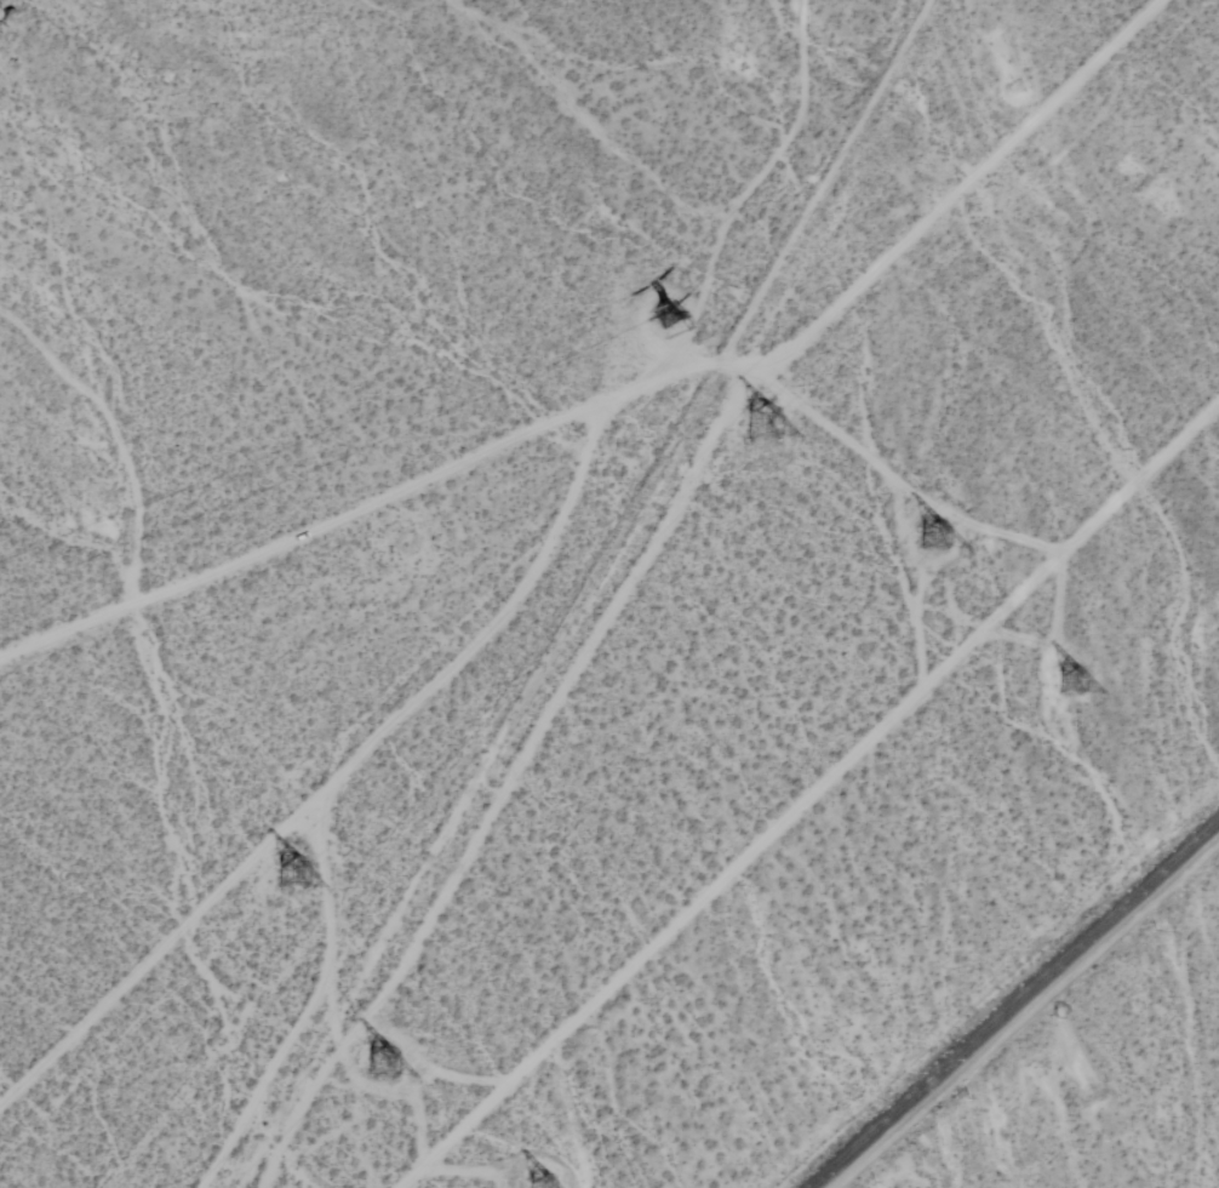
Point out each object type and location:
power tower: (670, 316)
power tower: (762, 428)
road: (540, 429)
power tower: (935, 536)
road: (654, 546)
power tower: (1084, 676)
road: (811, 795)
power tower: (297, 873)
railway: (1011, 1001)
road: (1024, 1012)
power tower: (396, 1066)

